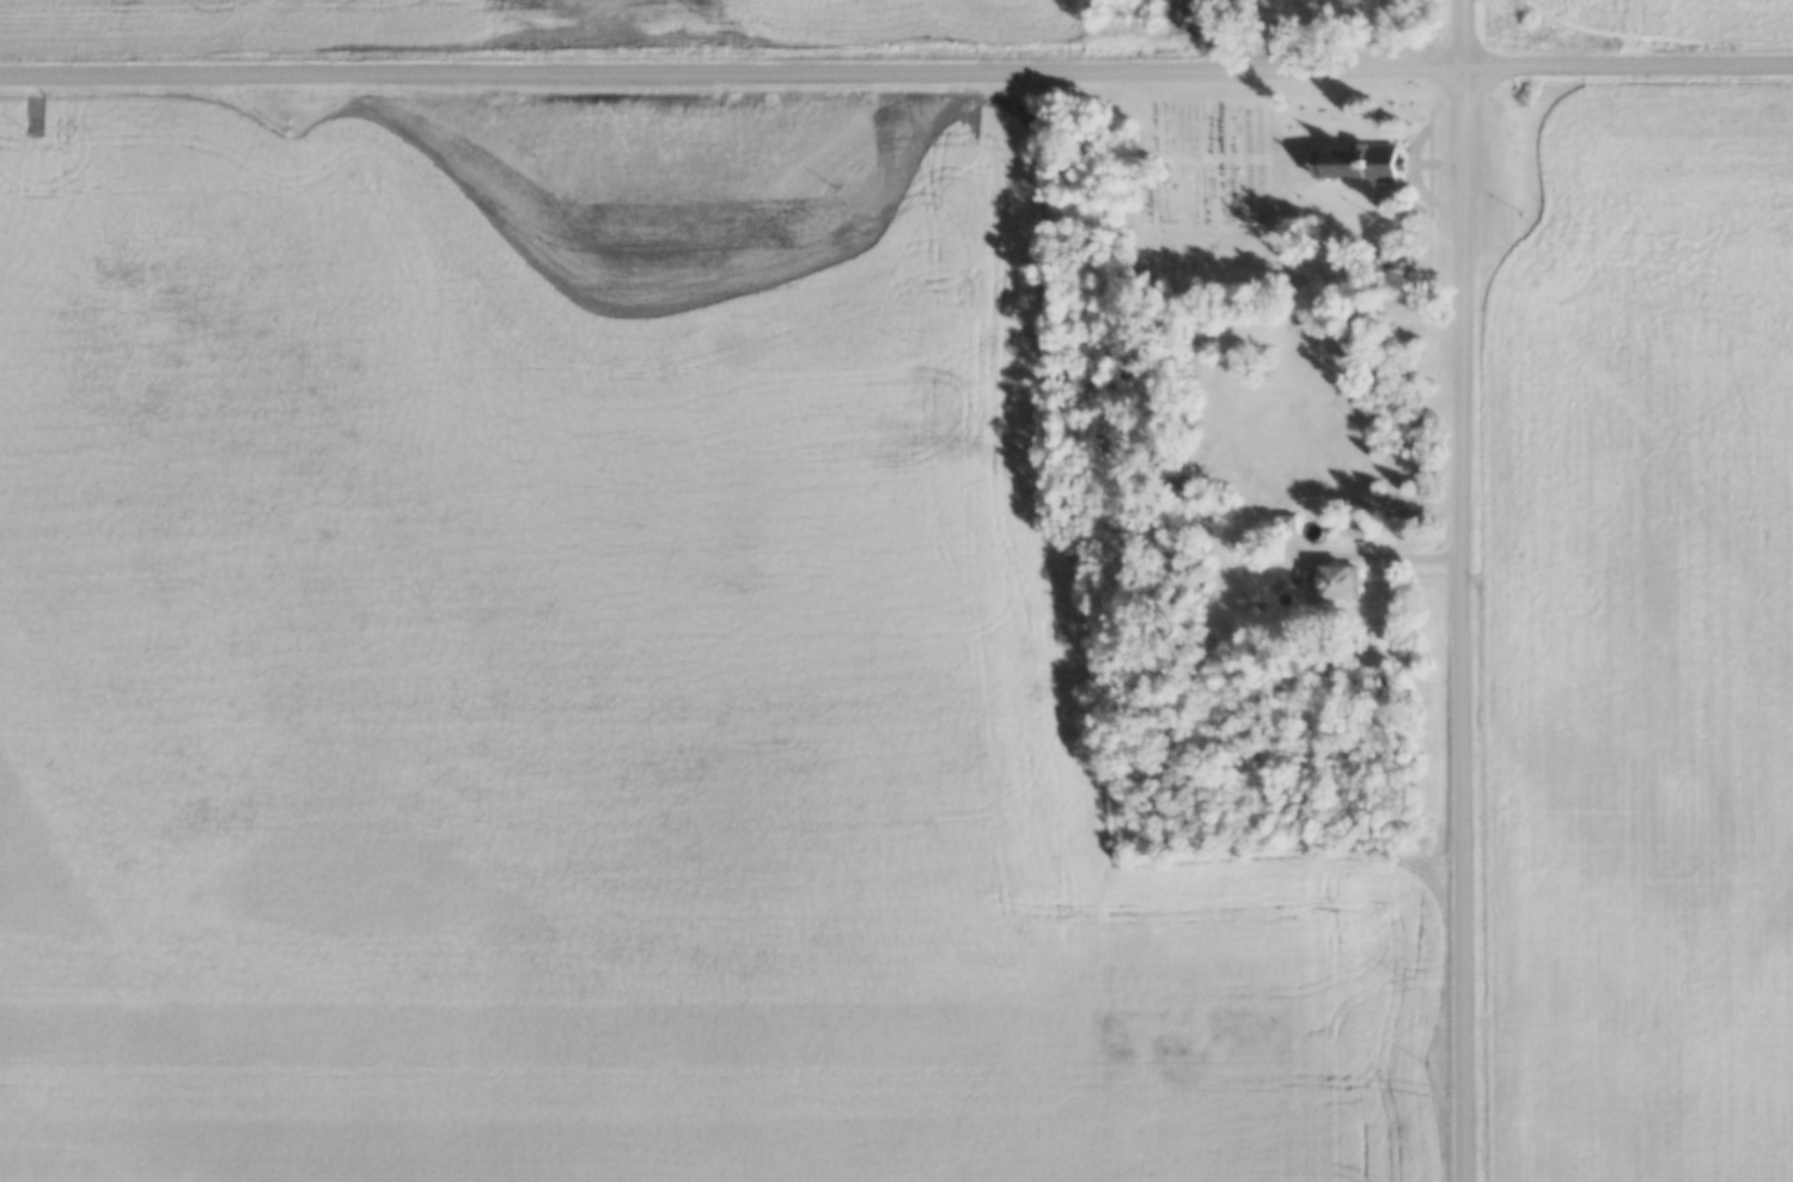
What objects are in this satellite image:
road: (896, 69)
building: (1337, 164)
building: (1287, 524)
road: (1383, 553)
building: (1336, 583)
road: (1468, 591)

